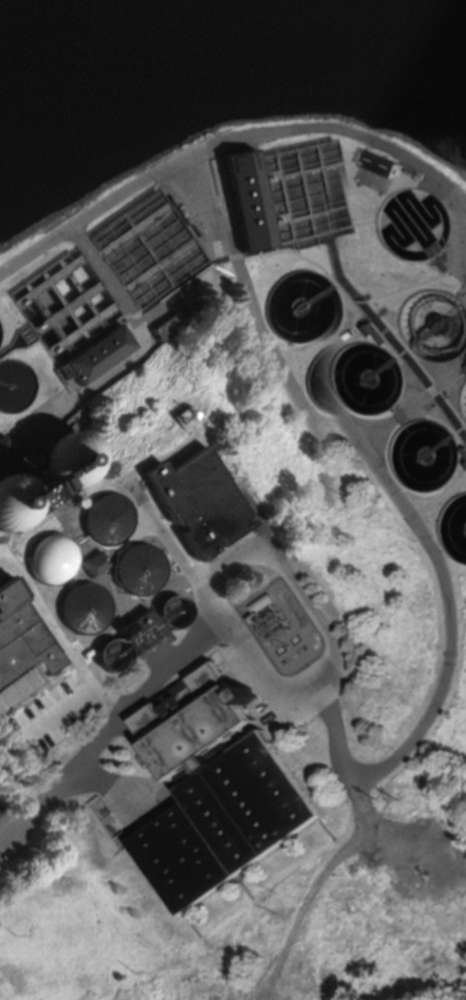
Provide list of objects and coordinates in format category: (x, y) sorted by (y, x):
river: (229, 25)
road: (224, 139)
road: (291, 147)
building: (382, 165)
road: (310, 169)
road: (269, 174)
road: (324, 186)
road: (262, 189)
road: (304, 191)
road: (284, 195)
building: (247, 201)
road: (214, 202)
road: (320, 212)
road: (278, 216)
road: (368, 223)
road: (134, 229)
road: (379, 232)
road: (316, 234)
road: (462, 244)
road: (276, 248)
road: (86, 255)
road: (235, 256)
road: (160, 265)
road: (326, 272)
road: (48, 282)
road: (105, 282)
road: (111, 284)
road: (414, 284)
road: (82, 293)
road: (120, 303)
road: (358, 303)
road: (65, 306)
road: (67, 308)
road: (49, 318)
road: (378, 318)
building: (413, 322)
building: (169, 327)
road: (83, 329)
building: (369, 334)
road: (400, 348)
road: (321, 349)
road: (393, 352)
building: (100, 354)
road: (387, 357)
road: (446, 373)
road: (5, 385)
road: (424, 387)
road: (420, 391)
road: (379, 417)
road: (454, 425)
road: (448, 429)
road: (441, 434)
road: (459, 435)
road: (461, 448)
road: (453, 458)
road: (465, 459)
building: (68, 460)
storage tank: (68, 460)
building: (458, 460)
building: (28, 471)
road: (426, 498)
building: (16, 502)
storage tank: (16, 502)
building: (198, 502)
building: (106, 519)
storage tank: (106, 519)
road: (399, 522)
building: (124, 545)
building: (51, 559)
storage tank: (51, 559)
building: (95, 564)
building: (140, 570)
storage tank: (140, 570)
wastewater plant: (236, 575)
building: (68, 584)
building: (86, 608)
storage tank: (86, 608)
building: (261, 608)
building: (175, 612)
storage tank: (175, 612)
power substation: (279, 621)
power tower: (284, 628)
building: (145, 634)
road: (61, 635)
power tower: (274, 635)
building: (21, 648)
building: (115, 655)
storage tank: (115, 655)
road: (291, 693)
road: (59, 709)
building: (196, 721)
road: (112, 729)
parking lot: (4, 815)
building: (229, 823)
road: (7, 826)

